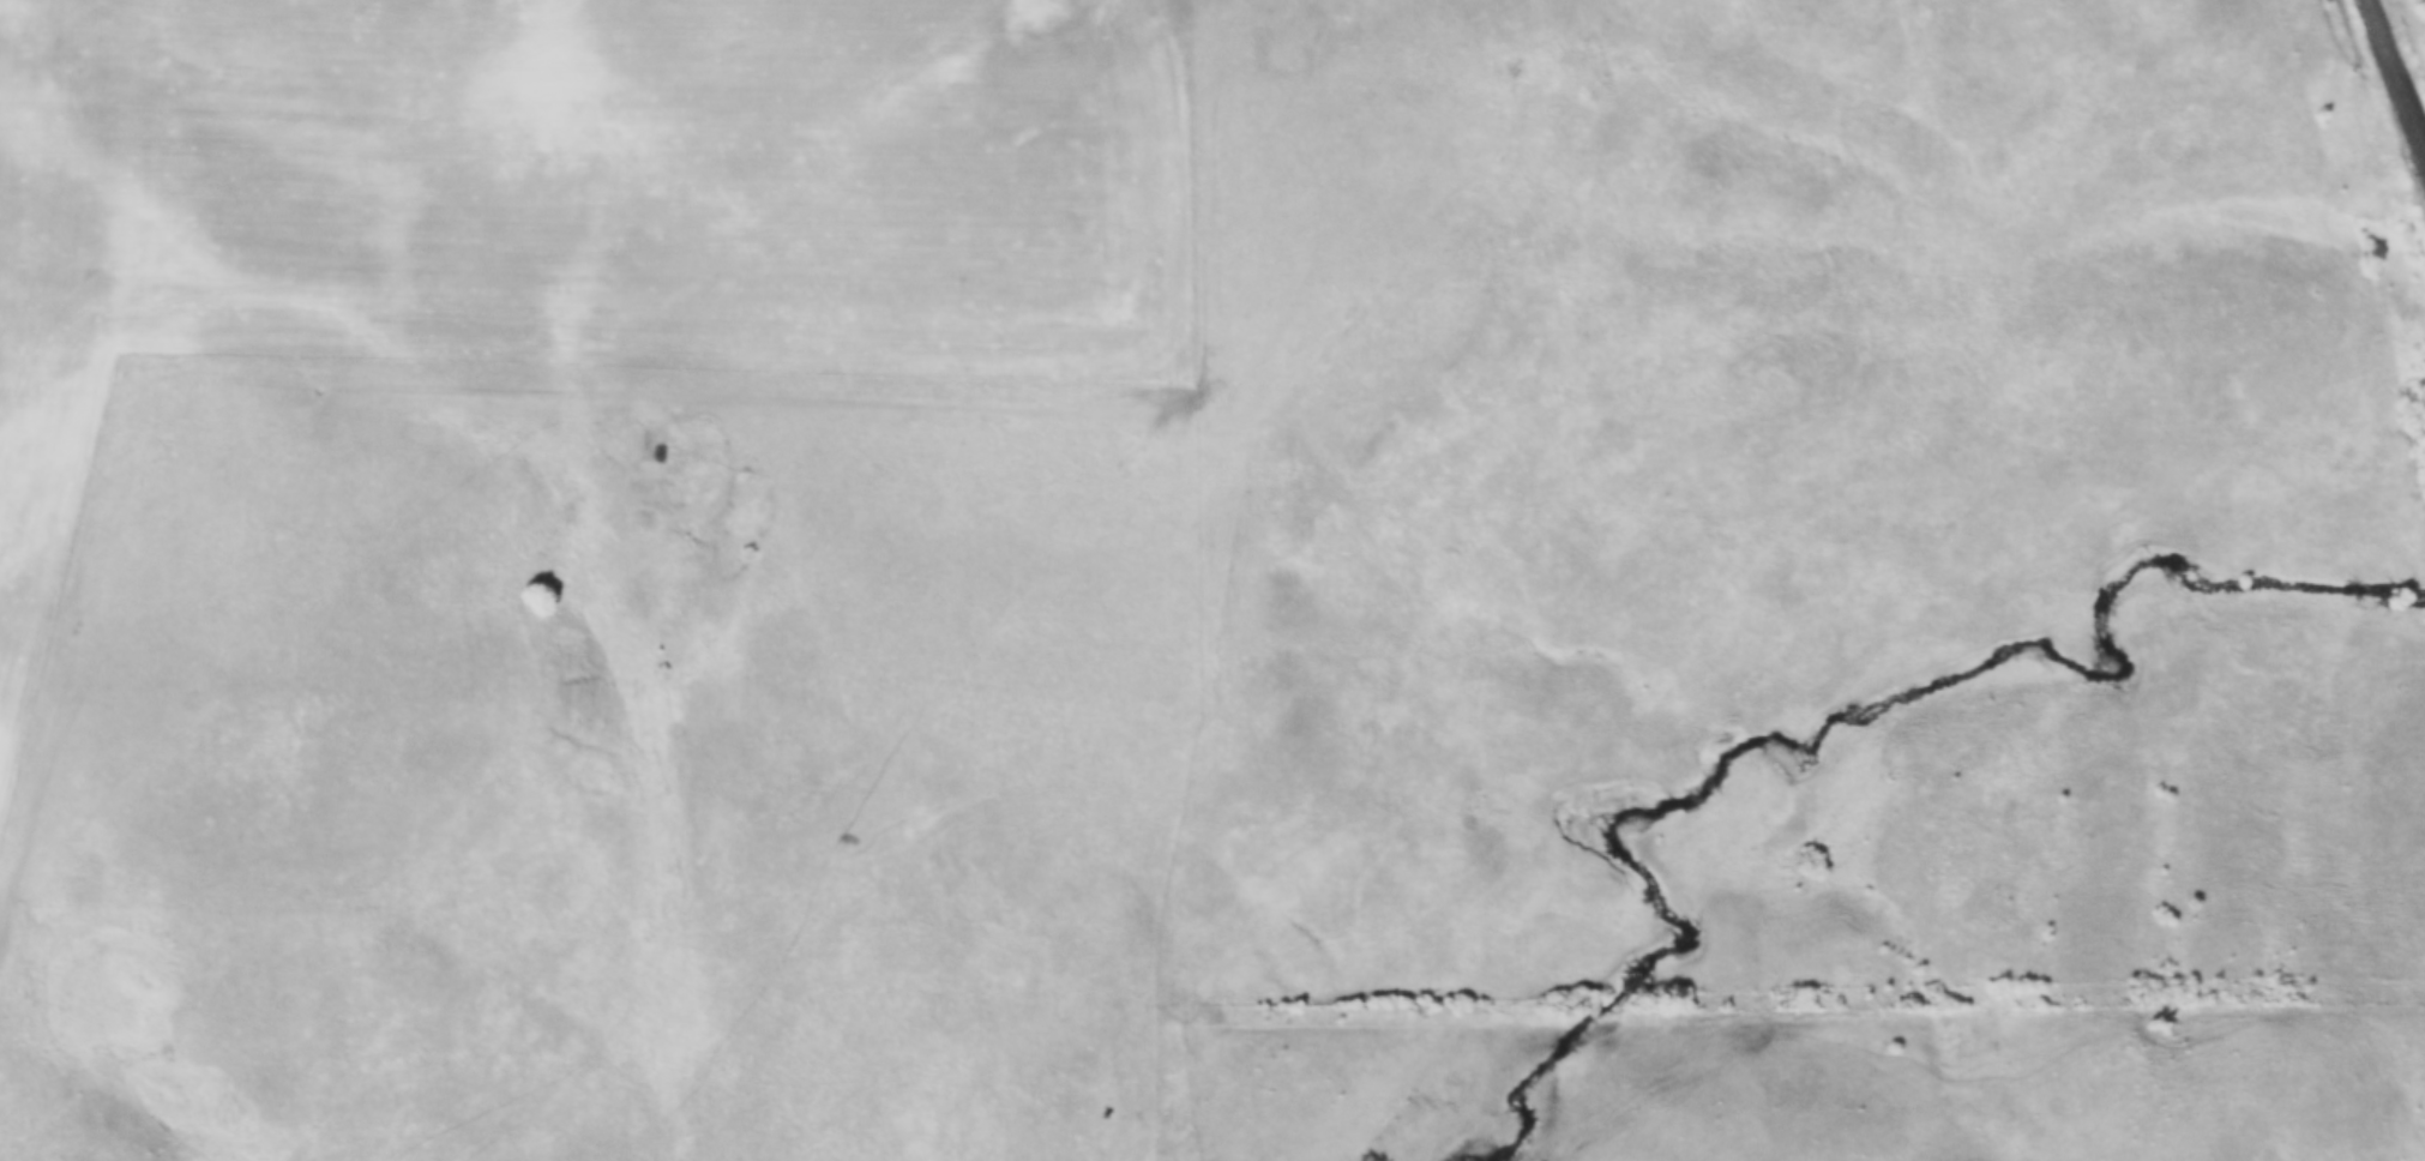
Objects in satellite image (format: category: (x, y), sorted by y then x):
railway: (2384, 116)
road: (67, 657)

